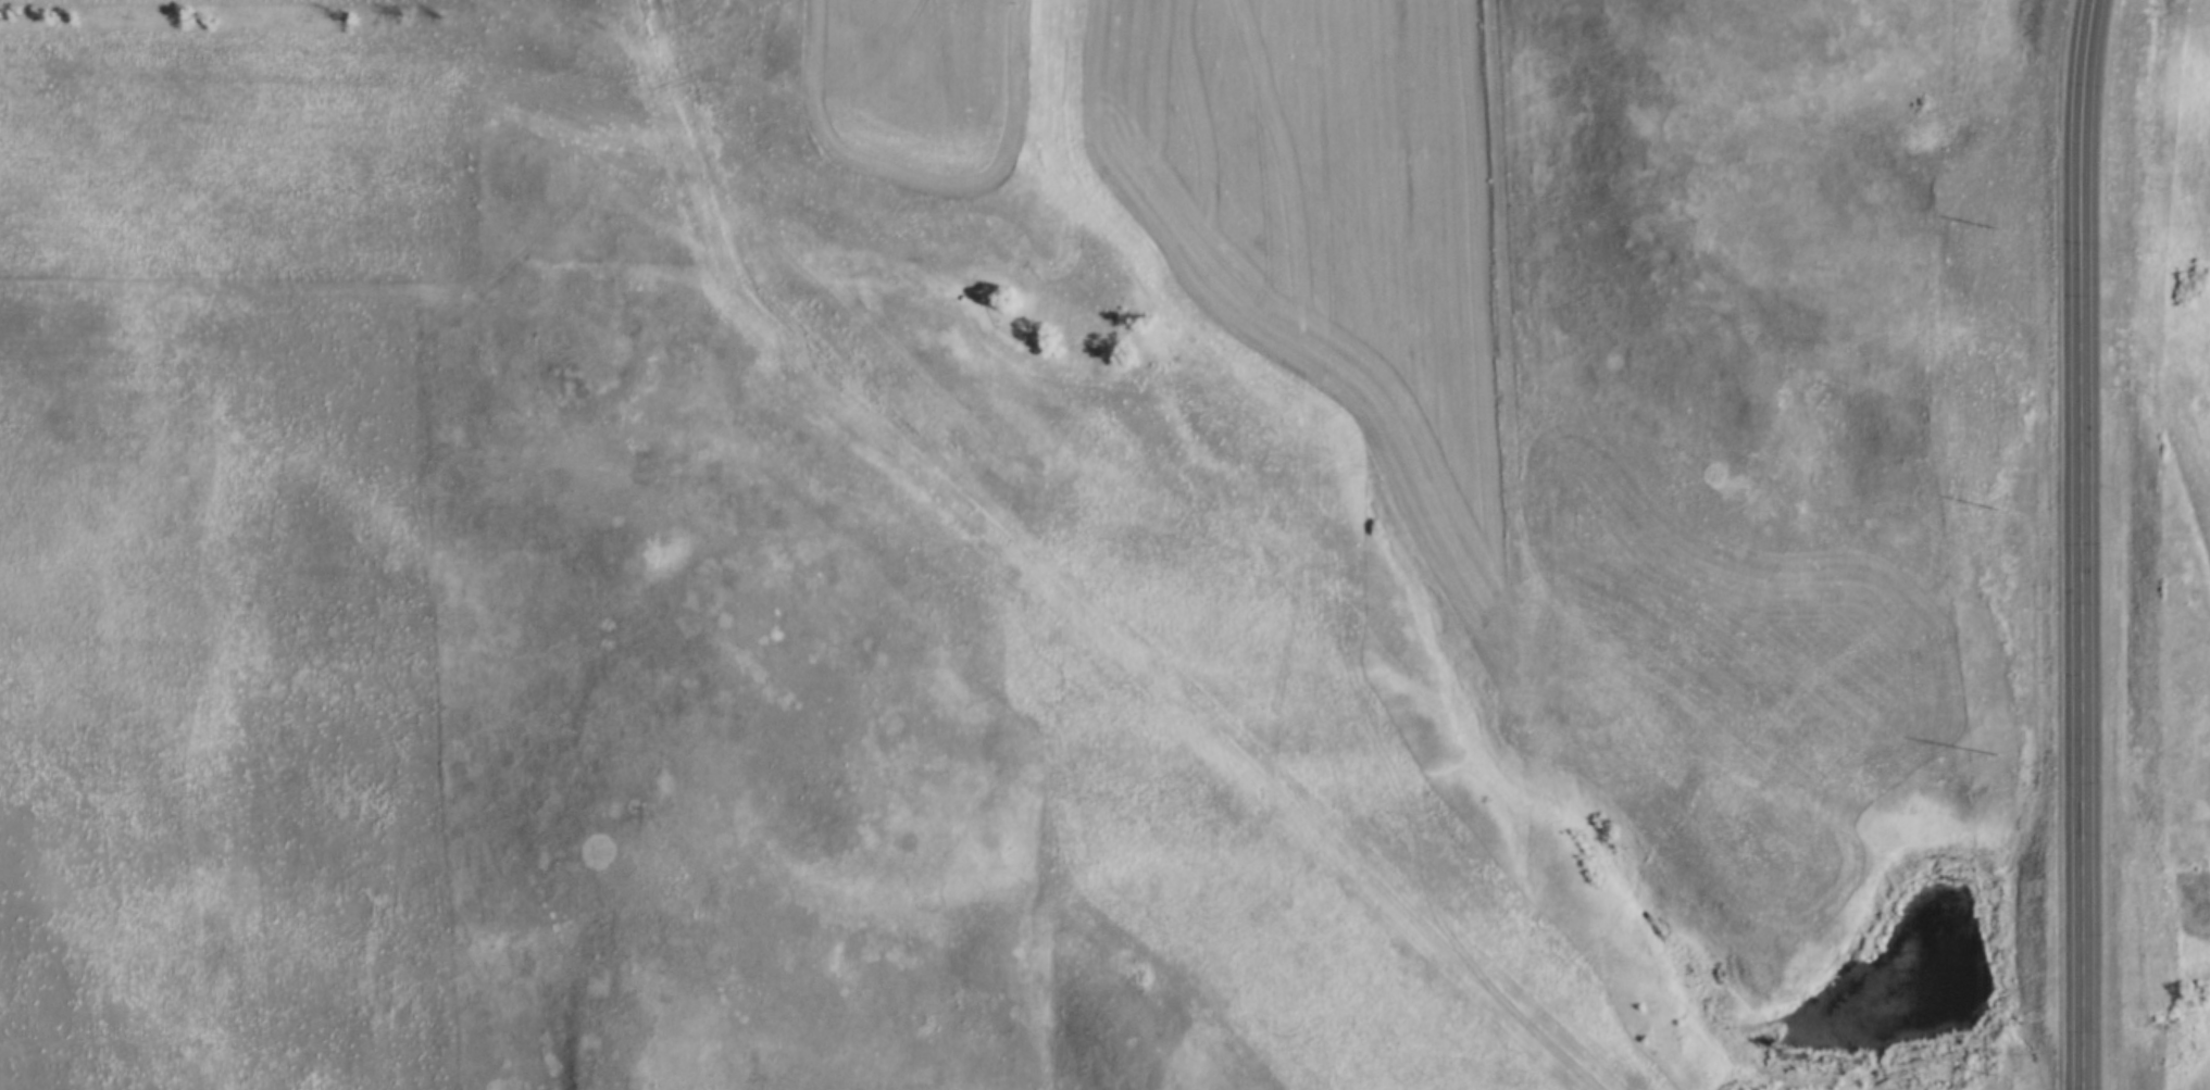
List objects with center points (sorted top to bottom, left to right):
road: (2083, 544)

